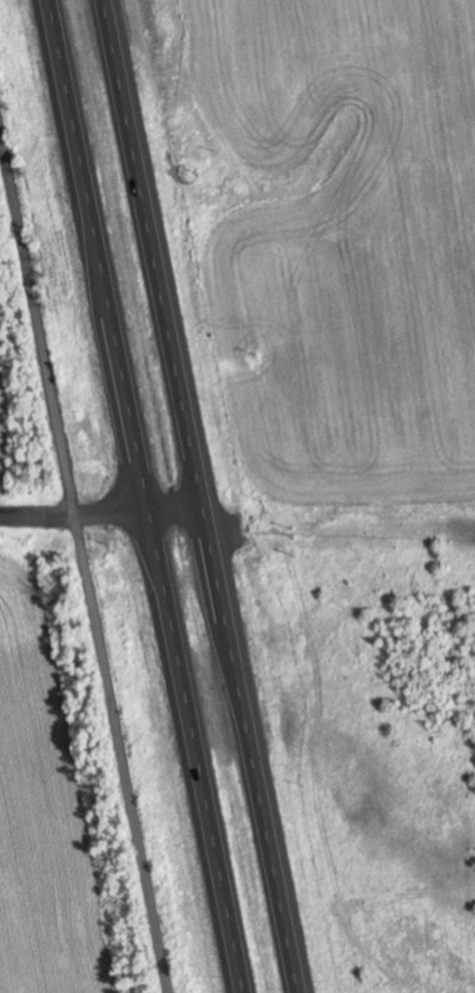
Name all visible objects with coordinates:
road: (146, 496)
road: (200, 496)
road: (102, 512)
road: (83, 567)

